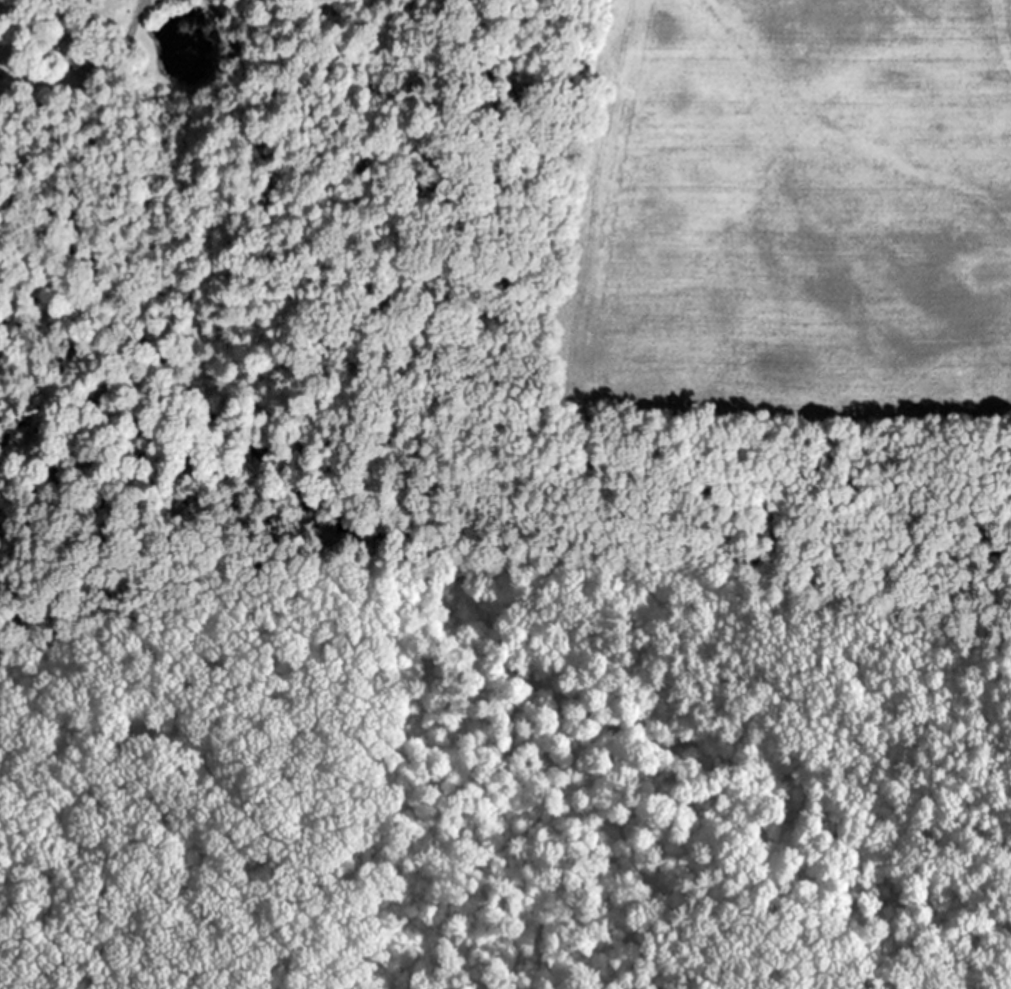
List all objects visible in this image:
road: (147, 5)

